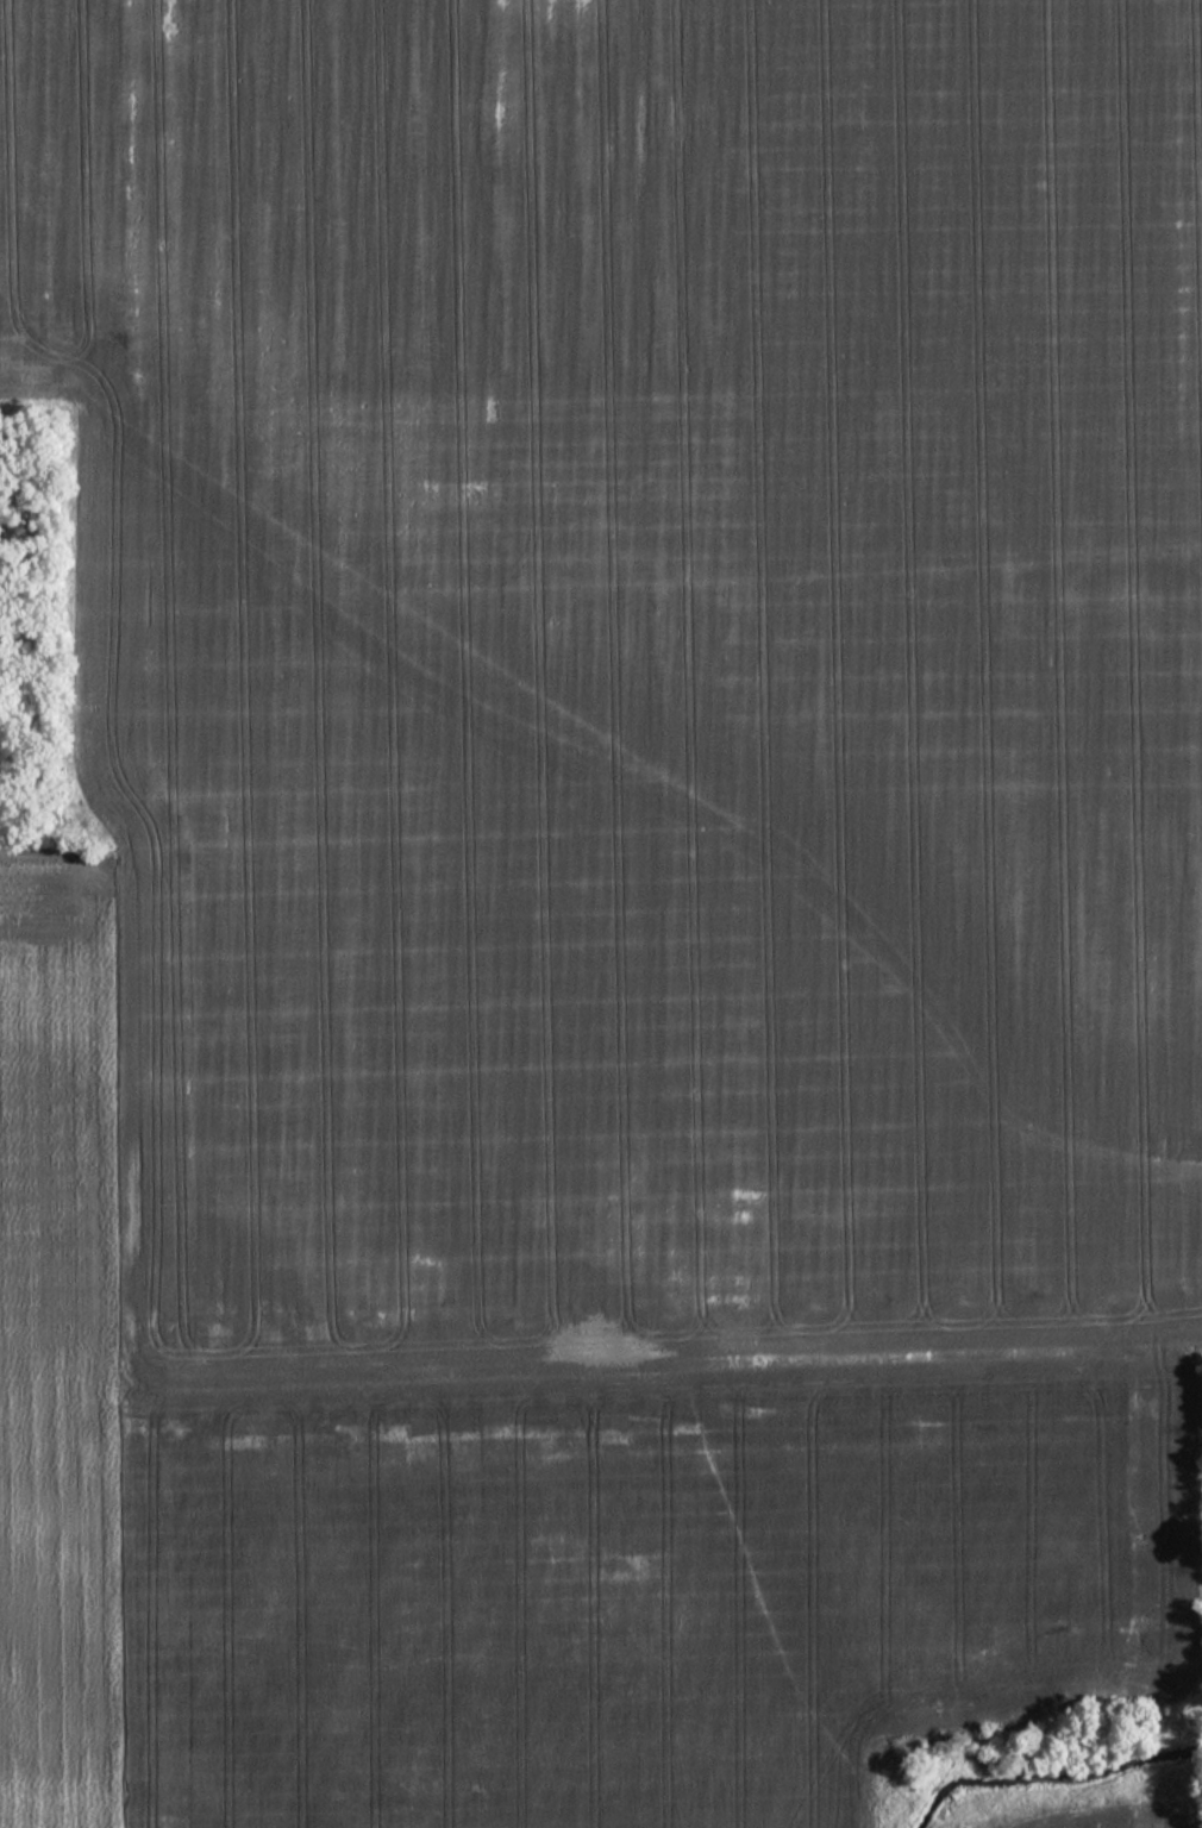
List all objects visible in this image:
crop: (632, 875)
crop: (61, 1342)
crop: (1106, 1824)

